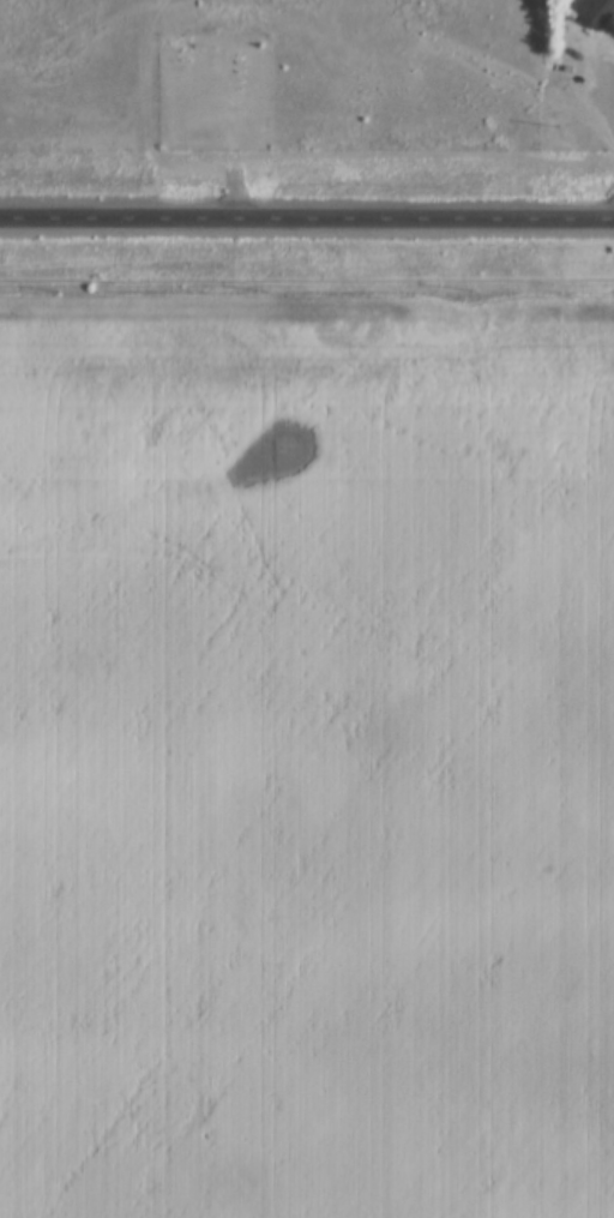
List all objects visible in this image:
building: (592, 10)
road: (306, 223)

